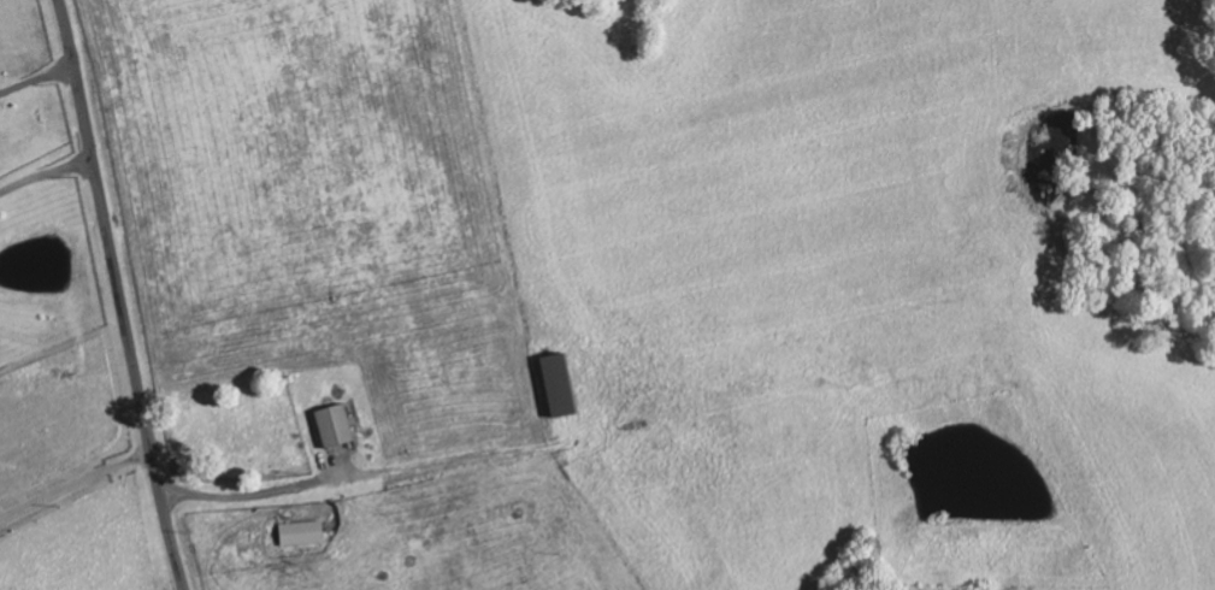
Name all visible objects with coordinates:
road: (120, 295)
building: (564, 387)
building: (338, 427)
building: (305, 535)

